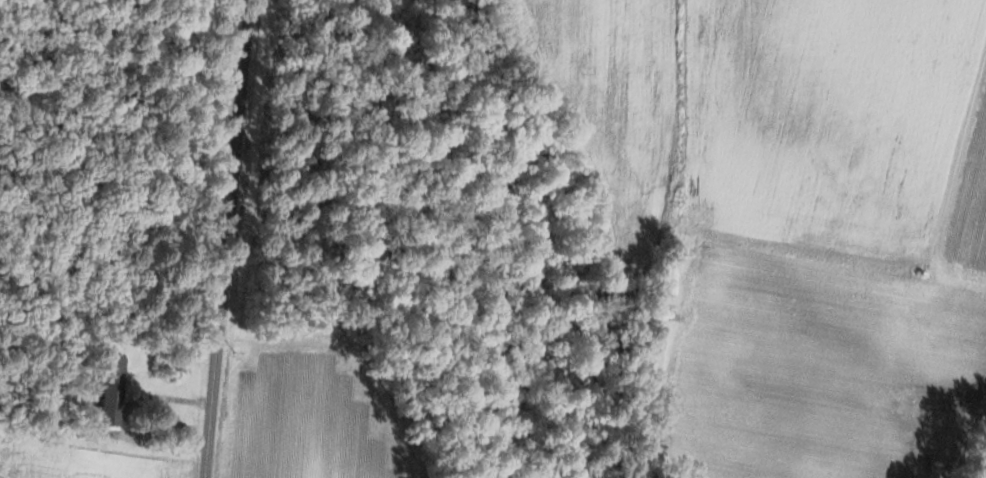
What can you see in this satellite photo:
road: (224, 238)
building: (110, 393)

